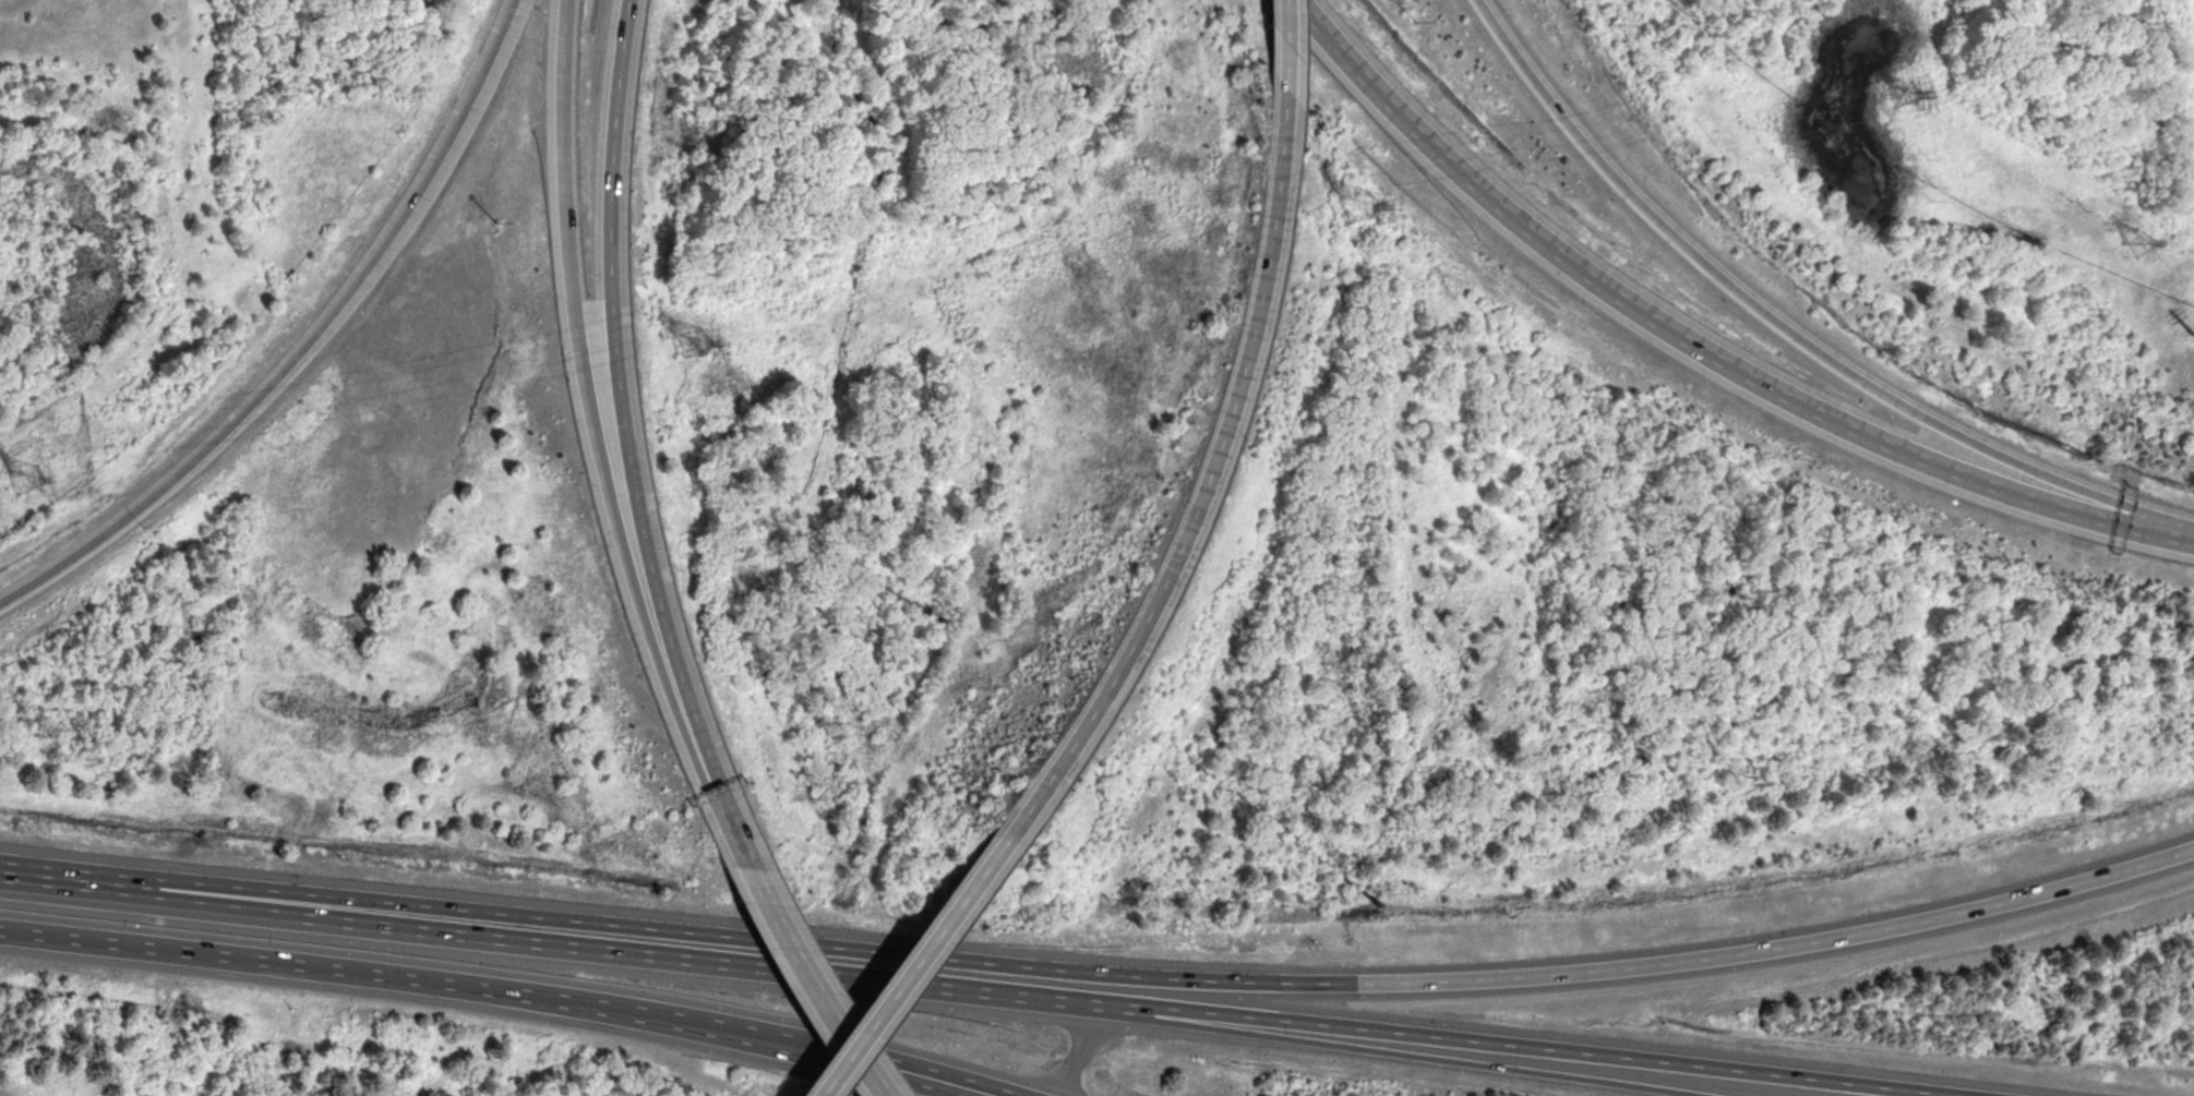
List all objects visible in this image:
road: (2081, 8)
road: (563, 16)
road: (1281, 37)
power tower: (1904, 94)
power tower: (1352, 206)
power tower: (2135, 240)
road: (1787, 327)
power tower: (687, 342)
road: (307, 344)
road: (1698, 347)
road: (613, 371)
road: (580, 393)
power tower: (23, 479)
road: (1201, 479)
road: (715, 802)
road: (7, 870)
road: (137, 892)
road: (685, 958)
road: (903, 967)
road: (1108, 973)
road: (405, 976)
road: (807, 985)
road: (1536, 1047)
road: (1077, 1048)
road: (1410, 1053)
road: (902, 1070)

